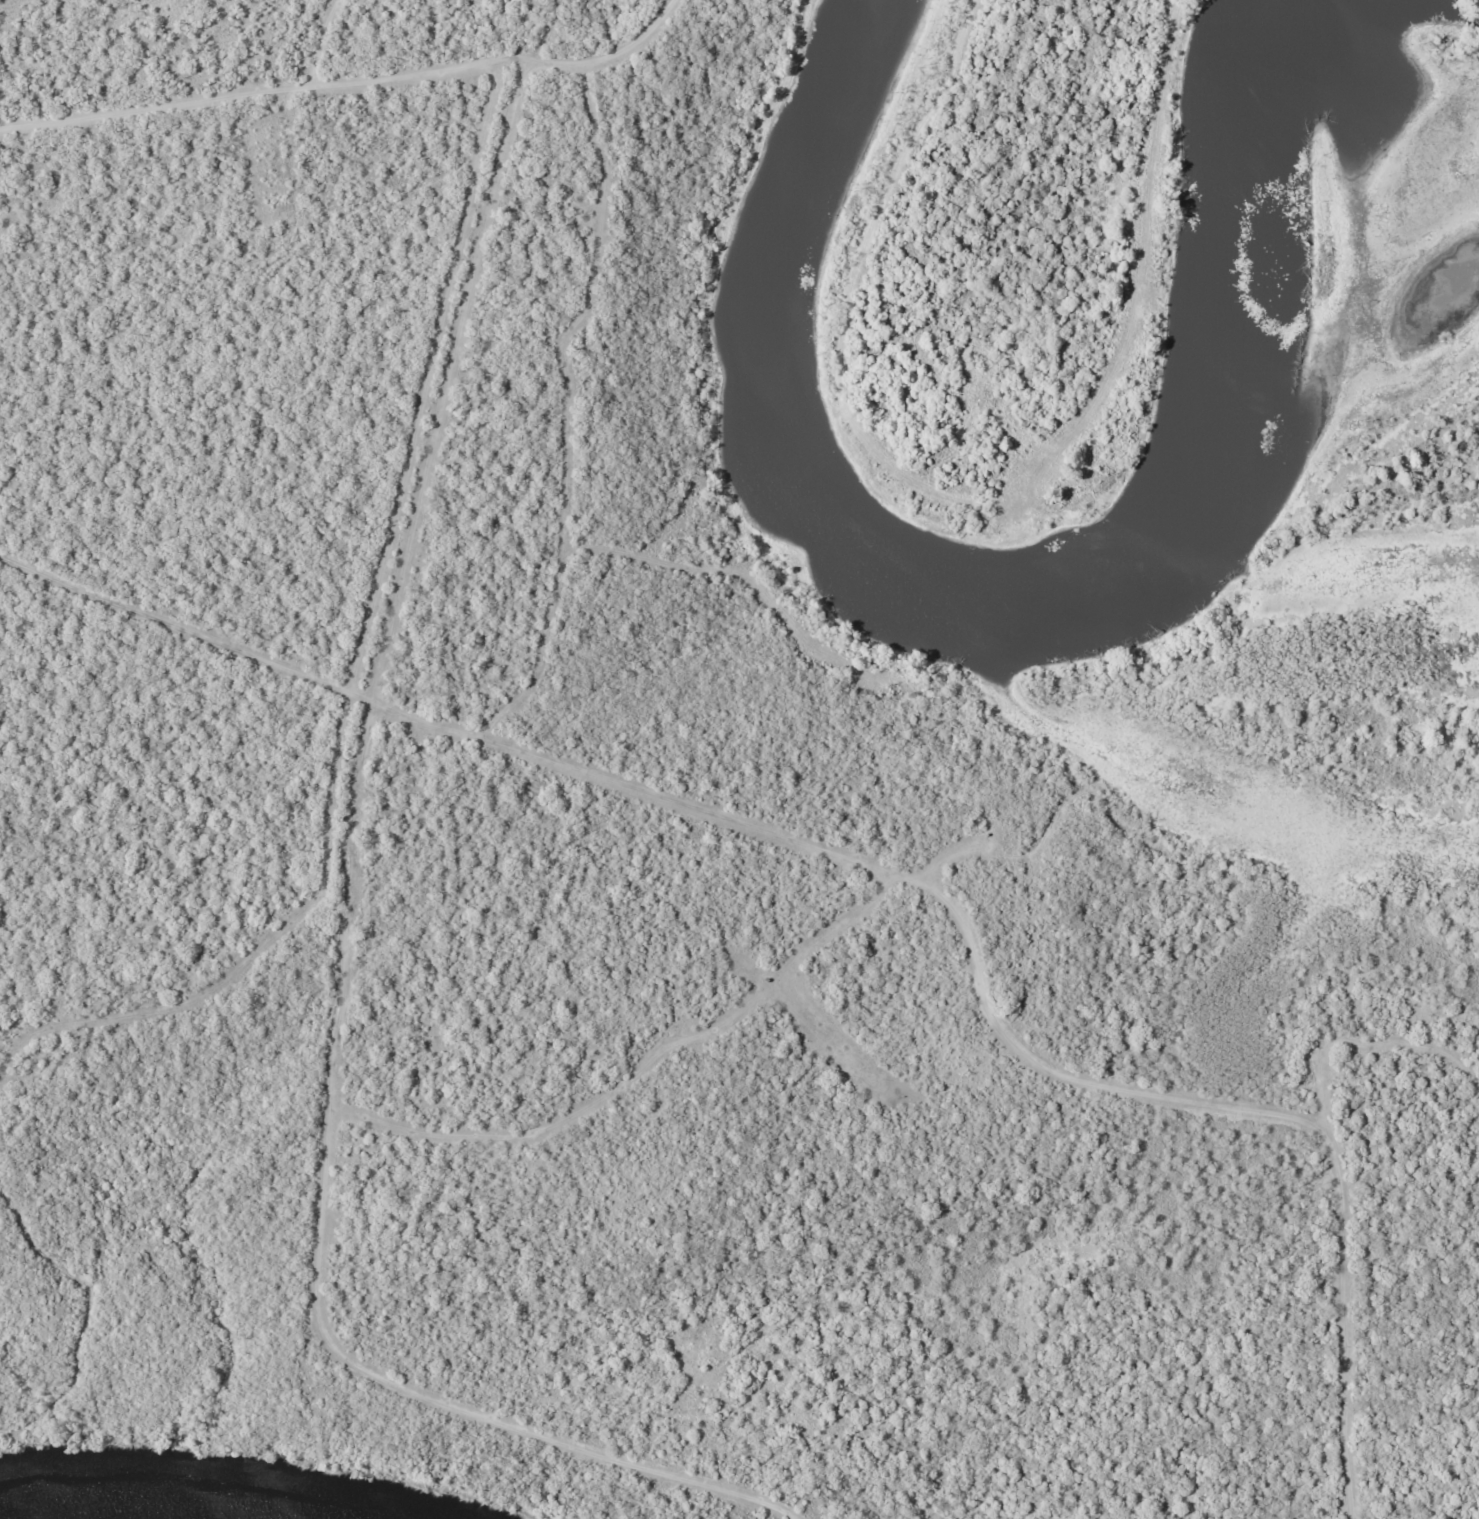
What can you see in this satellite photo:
road: (407, 114)
road: (718, 834)
river: (185, 1485)

